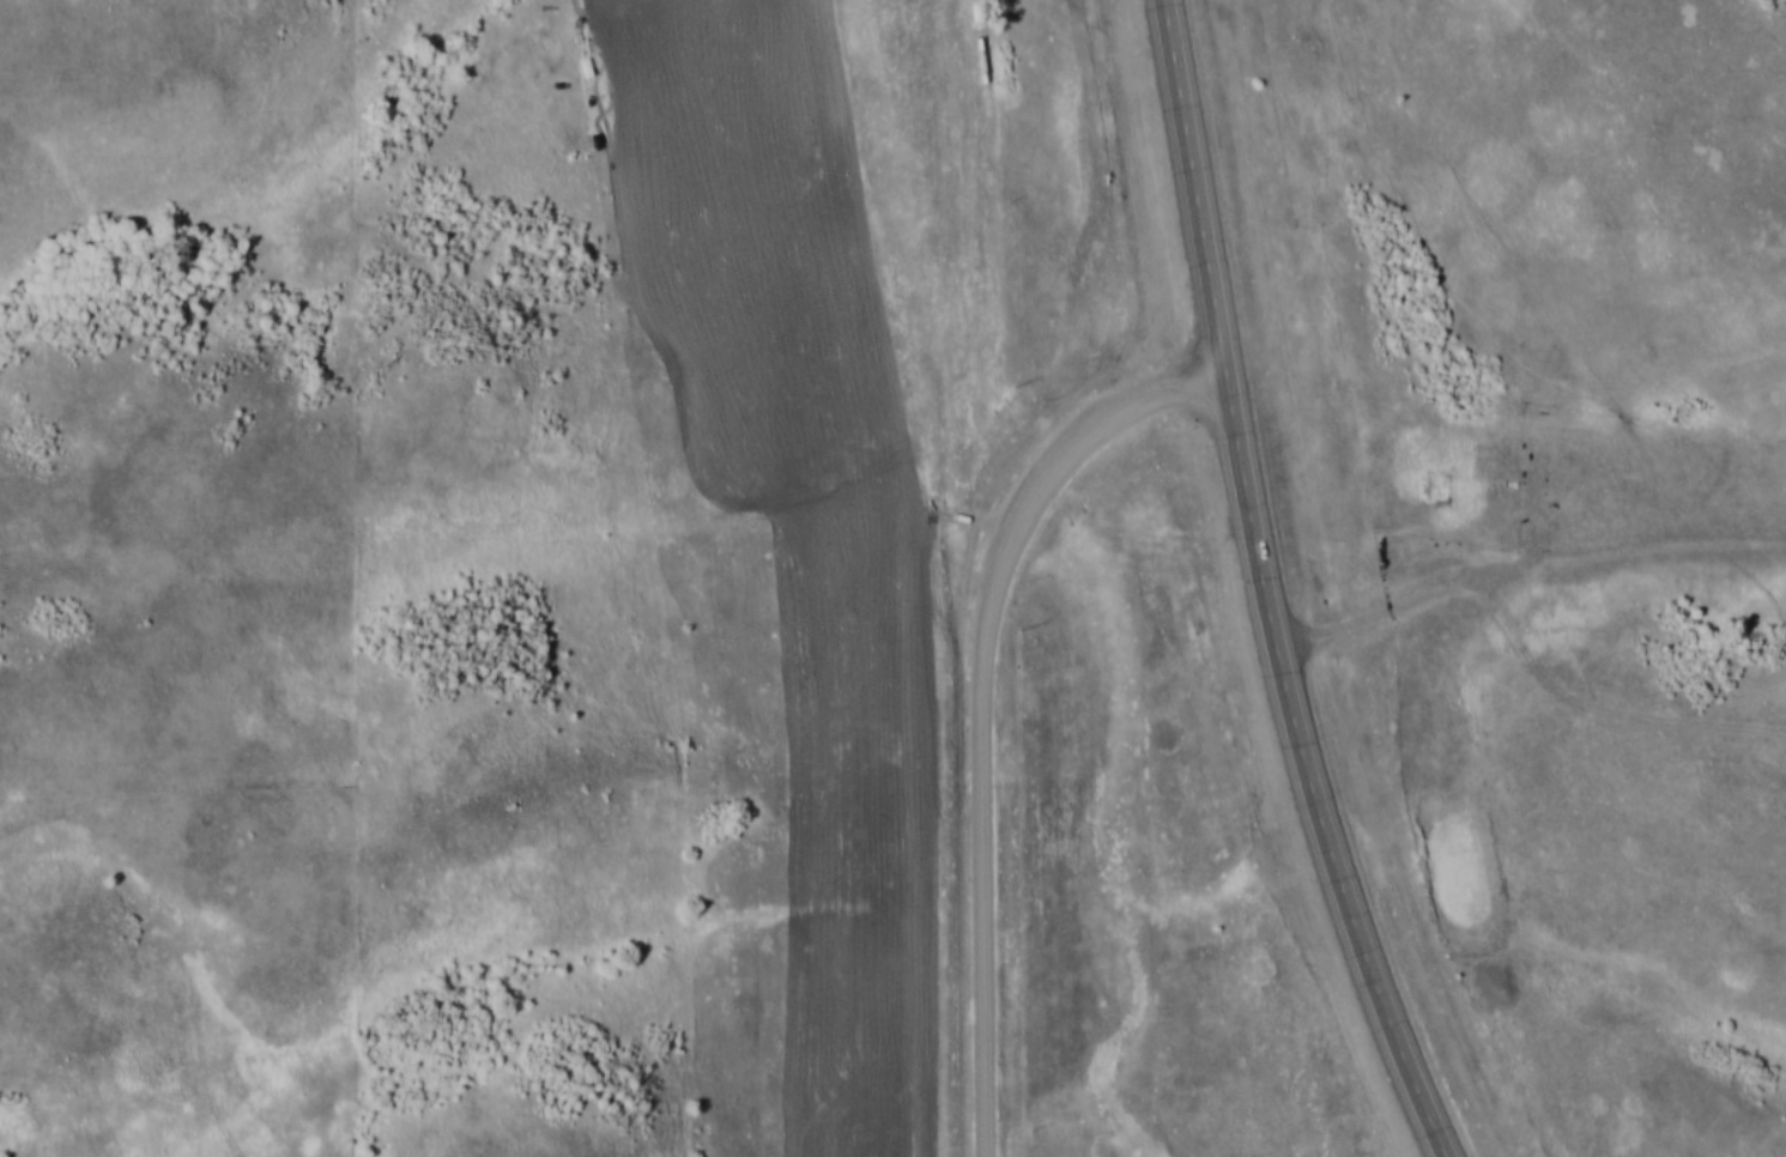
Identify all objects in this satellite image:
road: (1195, 189)
road: (945, 262)
road: (1526, 573)
road: (982, 701)
road: (1593, 708)
road: (1309, 775)

